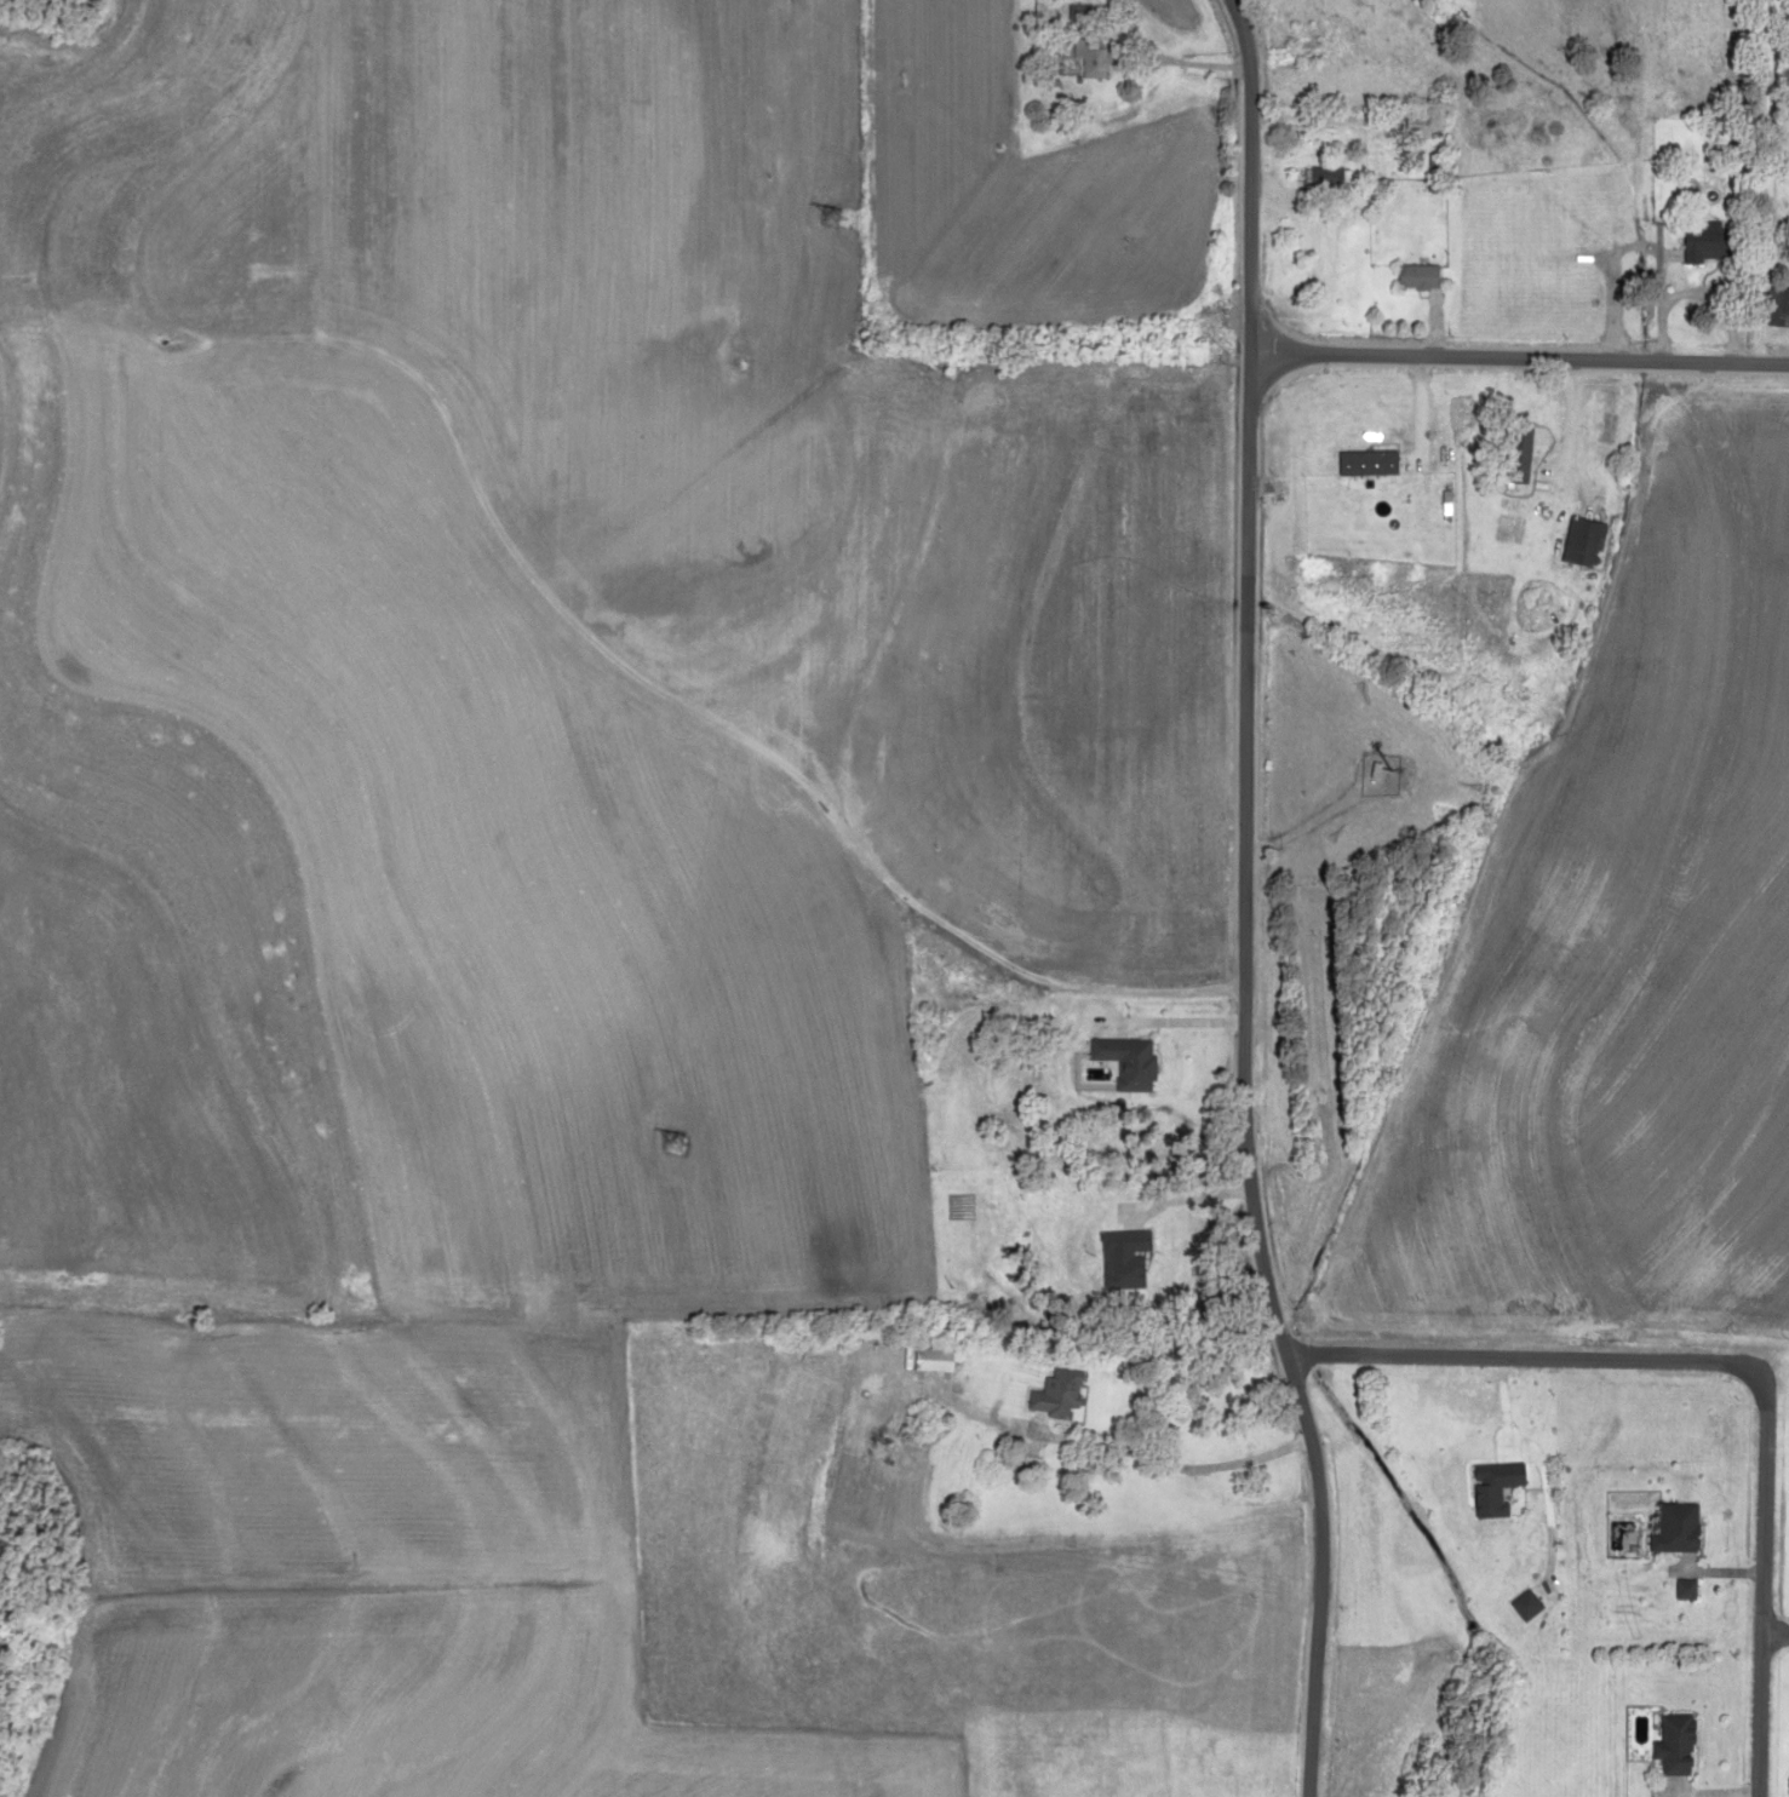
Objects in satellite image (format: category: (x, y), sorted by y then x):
building: (1040, 8)
building: (1078, 12)
building: (1305, 42)
building: (1090, 58)
building: (1412, 125)
building: (1319, 177)
building: (1704, 242)
building: (1411, 275)
building: (1296, 294)
building: (1774, 306)
road: (1294, 329)
road: (1529, 373)
building: (1509, 449)
building: (1576, 541)
road: (570, 660)
power tower: (733, 723)
road: (1258, 901)
building: (1118, 1061)
road: (1544, 1348)
building: (927, 1356)
building: (1044, 1397)
building: (1487, 1488)
building: (1667, 1527)
building: (1676, 1589)
building: (1519, 1604)
building: (1665, 1745)

